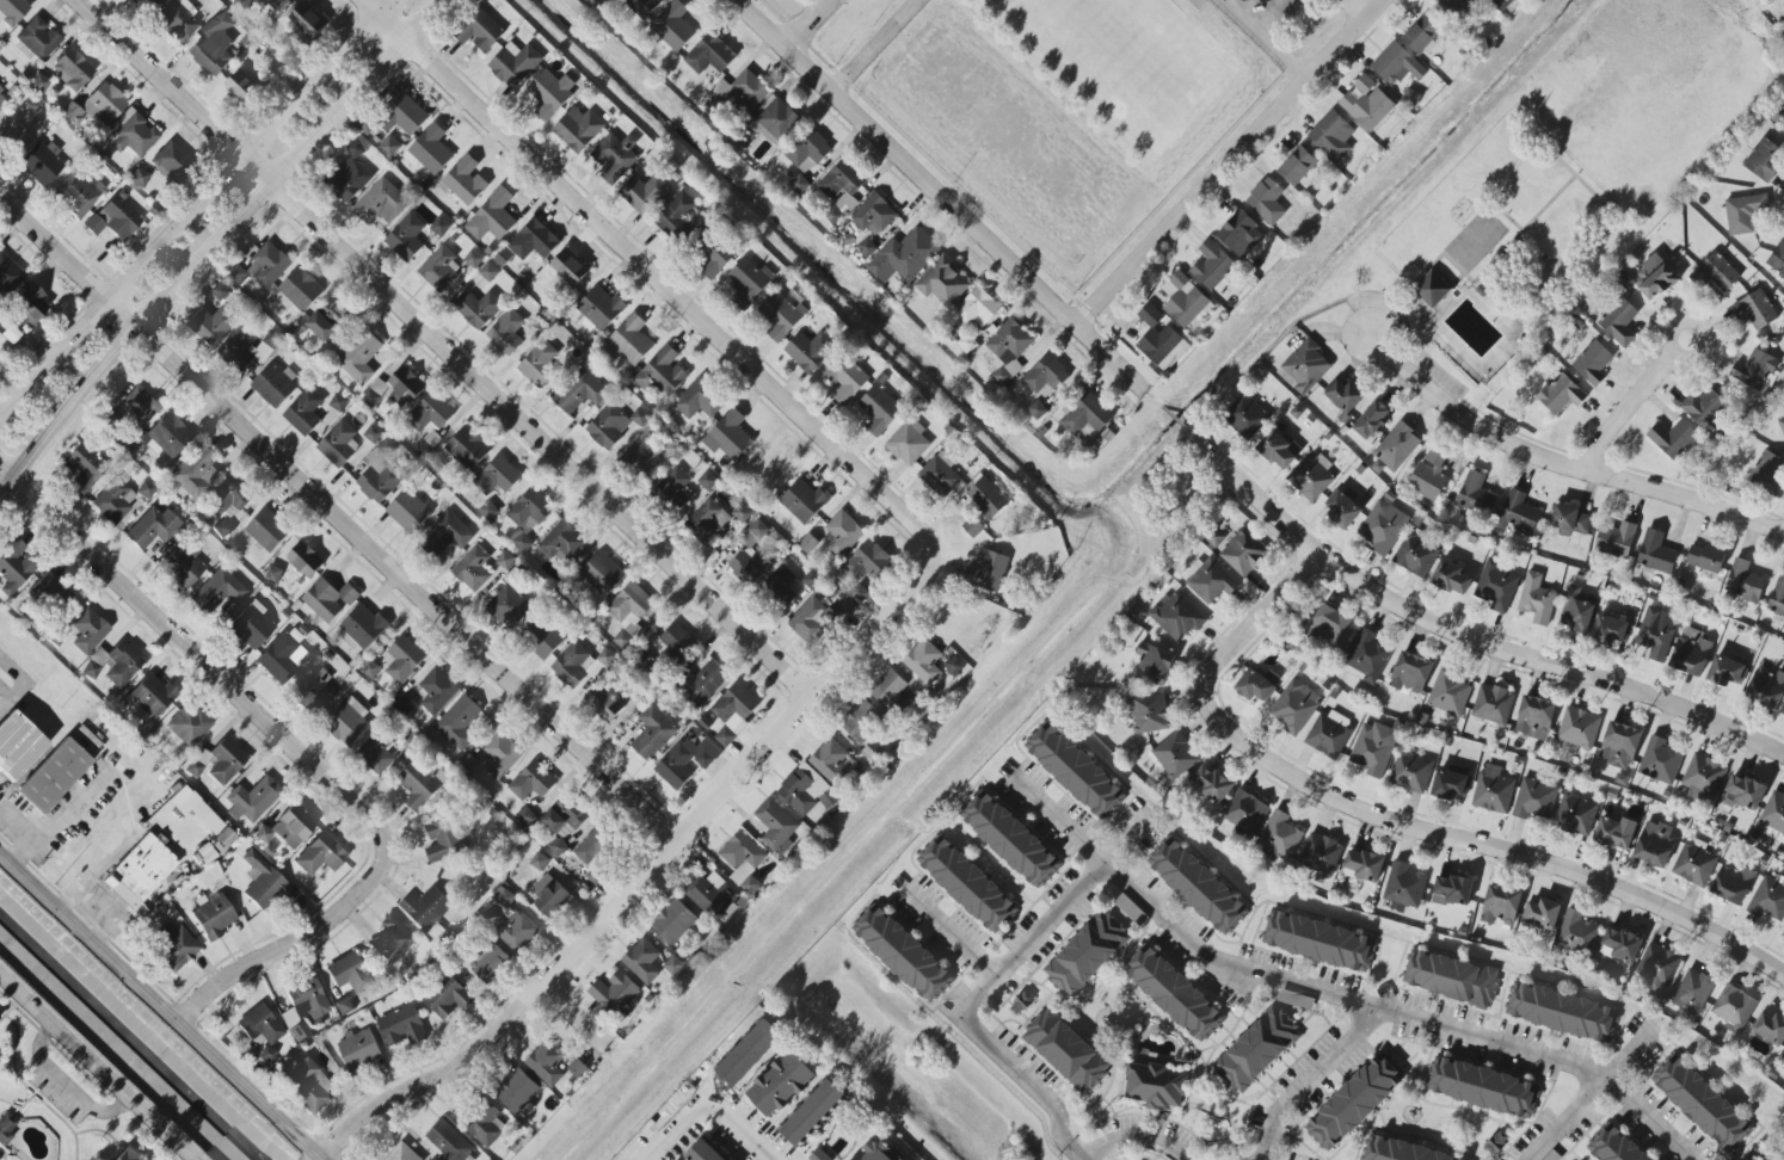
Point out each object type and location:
building: (149, 4)
building: (240, 5)
building: (272, 5)
building: (644, 6)
road: (1361, 6)
building: (1458, 6)
building: (1783, 6)
building: (12, 11)
road: (1273, 16)
building: (178, 21)
building: (307, 21)
road: (805, 24)
building: (673, 26)
building: (480, 31)
building: (1421, 36)
road: (1266, 39)
building: (38, 41)
building: (214, 45)
road: (873, 47)
building: (709, 55)
building: (515, 64)
building: (1396, 64)
building: (73, 69)
building: (38, 84)
building: (241, 86)
building: (744, 91)
building: (550, 93)
building: (2, 98)
building: (1366, 103)
building: (104, 104)
building: (73, 113)
building: (408, 116)
building: (773, 121)
building: (578, 129)
building: (1331, 136)
road: (248, 147)
building: (389, 147)
building: (429, 150)
building: (808, 152)
building: (614, 156)
building: (170, 160)
building: (1763, 160)
road: (1230, 162)
building: (42, 163)
building: (1297, 165)
building: (350, 172)
building: (139, 178)
building: (465, 180)
building: (800, 185)
building: (842, 185)
park: (1555, 187)
building: (645, 193)
building: (76, 195)
road: (939, 195)
building: (1266, 200)
building: (380, 203)
building: (1743, 214)
building: (874, 216)
building: (492, 217)
building: (677, 217)
building: (113, 220)
building: (438, 227)
building: (1239, 234)
building: (406, 237)
building: (533, 240)
road: (214, 242)
building: (867, 247)
building: (710, 253)
building: (904, 255)
building: (473, 259)
building: (1777, 259)
building: (1211, 265)
building: (263, 266)
building: (568, 269)
building: (441, 271)
building: (488, 272)
building: (1715, 273)
building: (8, 276)
road: (653, 276)
building: (1654, 278)
building: (749, 282)
building: (942, 282)
building: (300, 290)
building: (1432, 290)
building: (221, 291)
building: (1185, 302)
building: (29, 306)
building: (977, 308)
building: (479, 309)
building: (598, 309)
building: (1754, 310)
building: (782, 314)
building: (1619, 322)
building: (214, 325)
building: (321, 327)
building: (506, 333)
building: (1161, 340)
building: (628, 341)
road: (445, 348)
road: (56, 350)
building: (250, 350)
building: (1008, 350)
building: (811, 351)
building: (359, 357)
building: (1592, 363)
building: (537, 364)
building: (1304, 368)
building: (1753, 370)
building: (660, 374)
building: (1045, 375)
building: (844, 380)
building: (275, 385)
building: (404, 388)
building: (579, 393)
building: (1561, 394)
building: (1343, 395)
road: (1154, 397)
building: (699, 400)
road: (1631, 401)
building: (338, 402)
building: (137, 407)
building: (1705, 408)
building: (879, 409)
building: (304, 412)
building: (1087, 415)
building: (1245, 417)
building: (430, 418)
building: (640, 418)
road: (1174, 418)
building: (1371, 420)
building: (1782, 426)
building: (608, 427)
building: (373, 434)
building: (167, 436)
road: (1191, 436)
building: (728, 437)
building: (1672, 438)
building: (909, 443)
building: (339, 444)
building: (1395, 448)
building: (467, 449)
building: (1279, 449)
building: (673, 450)
building: (642, 456)
road: (1560, 462)
building: (84, 468)
building: (196, 473)
building: (1767, 473)
building: (380, 474)
building: (1429, 474)
building: (940, 475)
building: (497, 476)
building: (1311, 476)
building: (707, 481)
building: (675, 488)
building: (146, 490)
building: (1475, 494)
building: (230, 495)
building: (986, 499)
building: (113, 500)
building: (800, 505)
building: (1343, 510)
building: (408, 511)
building: (742, 513)
building: (1515, 514)
road: (339, 516)
building: (527, 518)
building: (1571, 519)
building: (707, 520)
building: (972, 527)
building: (1383, 527)
building: (153, 529)
building: (267, 530)
building: (842, 533)
building: (445, 535)
building: (753, 535)
building: (1214, 538)
building: (1614, 541)
building: (561, 543)
building: (1655, 553)
building: (1243, 554)
building: (1415, 555)
building: (1705, 559)
building: (304, 560)
building: (504, 560)
building: (869, 562)
building: (13, 567)
building: (182, 568)
building: (744, 568)
building: (473, 569)
building: (986, 569)
building: (602, 574)
building: (1451, 578)
building: (812, 580)
building: (1743, 580)
building: (1210, 581)
building: (1496, 586)
building: (49, 591)
building: (217, 591)
building: (859, 593)
building: (786, 596)
building: (1777, 598)
building: (328, 599)
building: (1537, 599)
building: (506, 606)
building: (1575, 611)
building: (629, 612)
building: (1177, 617)
road: (1263, 619)
building: (816, 621)
building: (251, 625)
building: (1328, 627)
building: (363, 628)
building: (1610, 630)
building: (88, 631)
building: (1656, 633)
road: (1469, 635)
building: (546, 640)
building: (676, 644)
building: (1692, 655)
building: (283, 656)
building: (1366, 658)
building: (402, 659)
building: (923, 661)
building: (1152, 664)
building: (113, 665)
building: (580, 665)
building: (370, 670)
building: (1725, 672)
building: (1410, 673)
building: (706, 683)
road: (24, 684)
building: (1255, 686)
building: (1766, 689)
building: (890, 690)
building: (437, 691)
building: (1448, 692)
building: (313, 693)
building: (152, 695)
building: (404, 703)
building: (609, 704)
building: (1493, 704)
building: (1294, 707)
building: (1782, 711)
building: (1150, 714)
building: (1534, 717)
building: (861, 721)
building: (349, 723)
building: (459, 723)
building: (189, 726)
building: (1579, 728)
building: (653, 733)
building: (1329, 734)
building: (1619, 745)
building: (18, 746)
building: (1374, 748)
building: (873, 751)
building: (376, 753)
road: (293, 755)
building: (500, 755)
building: (1175, 755)
building: (226, 760)
building: (685, 760)
building: (830, 760)
building: (1659, 761)
building: (197, 763)
building: (1075, 771)
building: (1410, 773)
building: (54, 776)
building: (1703, 779)
building: (531, 782)
building: (420, 784)
building: (1211, 785)
building: (1450, 785)
building: (799, 790)
building: (1493, 790)
building: (1743, 792)
building: (829, 798)
building: (252, 800)
building: (1534, 800)
building: (195, 809)
building: (1245, 812)
road: (57, 813)
building: (1773, 814)
building: (1575, 815)
building: (525, 816)
building: (565, 816)
road: (17, 820)
building: (776, 826)
building: (288, 828)
building: (1616, 832)
building: (1278, 838)
building: (1009, 839)
building: (443, 840)
building: (1655, 844)
building: (558, 847)
road: (1488, 851)
building: (592, 853)
building: (321, 854)
building: (1321, 854)
building: (743, 860)
building: (539, 862)
building: (1694, 863)
building: (1362, 866)
building: (144, 876)
road: (642, 880)
building: (263, 882)
building: (1733, 883)
building: (967, 884)
building: (1404, 886)
building: (1196, 887)
building: (1452, 890)
building: (710, 894)
building: (549, 895)
building: (503, 897)
building: (1768, 901)
building: (1501, 906)
building: (426, 907)
building: (1131, 909)
building: (1542, 914)
building: (214, 917)
building: (675, 921)
building: (516, 931)
building: (1576, 933)
building: (1783, 933)
road: (954, 938)
building: (392, 939)
building: (1318, 942)
building: (1620, 945)
building: (177, 949)
building: (903, 954)
building: (1085, 955)
building: (642, 961)
building: (488, 962)
building: (673, 965)
building: (1656, 968)
building: (349, 973)
building: (1450, 977)
road: (1282, 983)
road: (992, 985)
building: (1693, 992)
building: (614, 993)
building: (1174, 994)
building: (448, 998)
building: (1296, 1000)
road: (158, 1004)
building: (1021, 1004)
building: (344, 1006)
building: (1734, 1006)
building: (303, 1007)
building: (1558, 1012)
building: (259, 1025)
building: (402, 1026)
building: (1771, 1029)
building: (359, 1050)
building: (1256, 1050)
building: (1066, 1051)
building: (748, 1053)
building: (267, 1054)
road: (1629, 1056)
building: (1783, 1059)
building: (546, 1063)
road: (99, 1065)
building: (577, 1068)
road: (1315, 1080)
road: (1604, 1081)
road: (66, 1085)
building: (308, 1085)
building: (781, 1085)
building: (1155, 1086)
building: (1482, 1087)
building: (516, 1091)
road: (1612, 1093)
road: (718, 1100)
building: (1700, 1103)
building: (1353, 1104)
building: (812, 1113)
building: (485, 1124)
building: (7, 1127)
road: (1139, 1139)
building: (1496, 1142)
building: (450, 1143)
building: (1612, 1147)
building: (1396, 1150)
building: (703, 1152)
building: (876, 1152)
building: (402, 1153)
building: (125, 1155)
building: (818, 1155)

